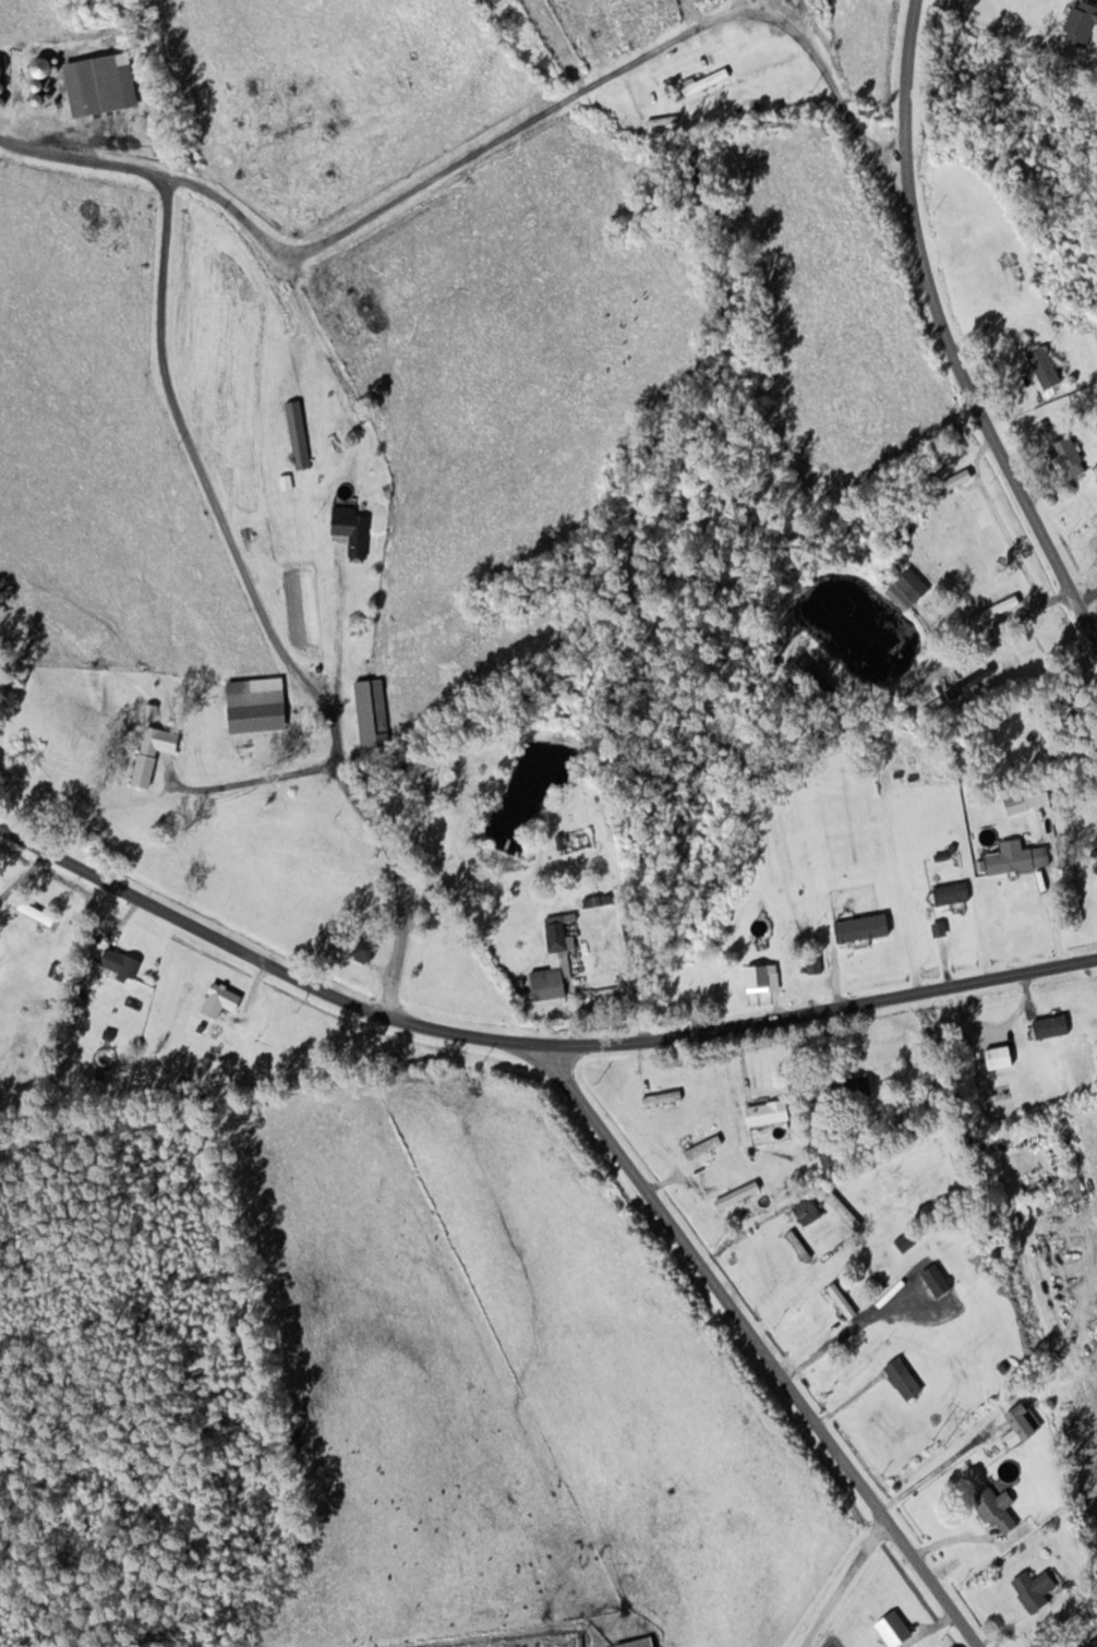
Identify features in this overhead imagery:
building: (1082, 24)
building: (589, 31)
building: (697, 85)
building: (96, 86)
building: (1065, 306)
road: (945, 335)
building: (1045, 368)
building: (299, 434)
building: (1070, 457)
building: (286, 482)
road: (230, 527)
building: (353, 530)
building: (908, 589)
building: (971, 682)
building: (258, 710)
building: (372, 711)
building: (154, 752)
building: (311, 795)
building: (1028, 797)
building: (1018, 856)
building: (1094, 861)
building: (953, 892)
building: (38, 913)
building: (365, 948)
building: (122, 963)
building: (815, 964)
building: (554, 965)
building: (764, 976)
building: (222, 999)
road: (529, 1041)
building: (855, 1086)
building: (932, 1102)
building: (769, 1113)
building: (704, 1146)
building: (830, 1158)
building: (889, 1185)
building: (808, 1211)
building: (799, 1245)
building: (938, 1279)
building: (843, 1300)
road: (758, 1345)
building: (905, 1379)
building: (1025, 1421)
power tower: (940, 1441)
building: (1000, 1508)
building: (1036, 1589)
building: (641, 1643)

